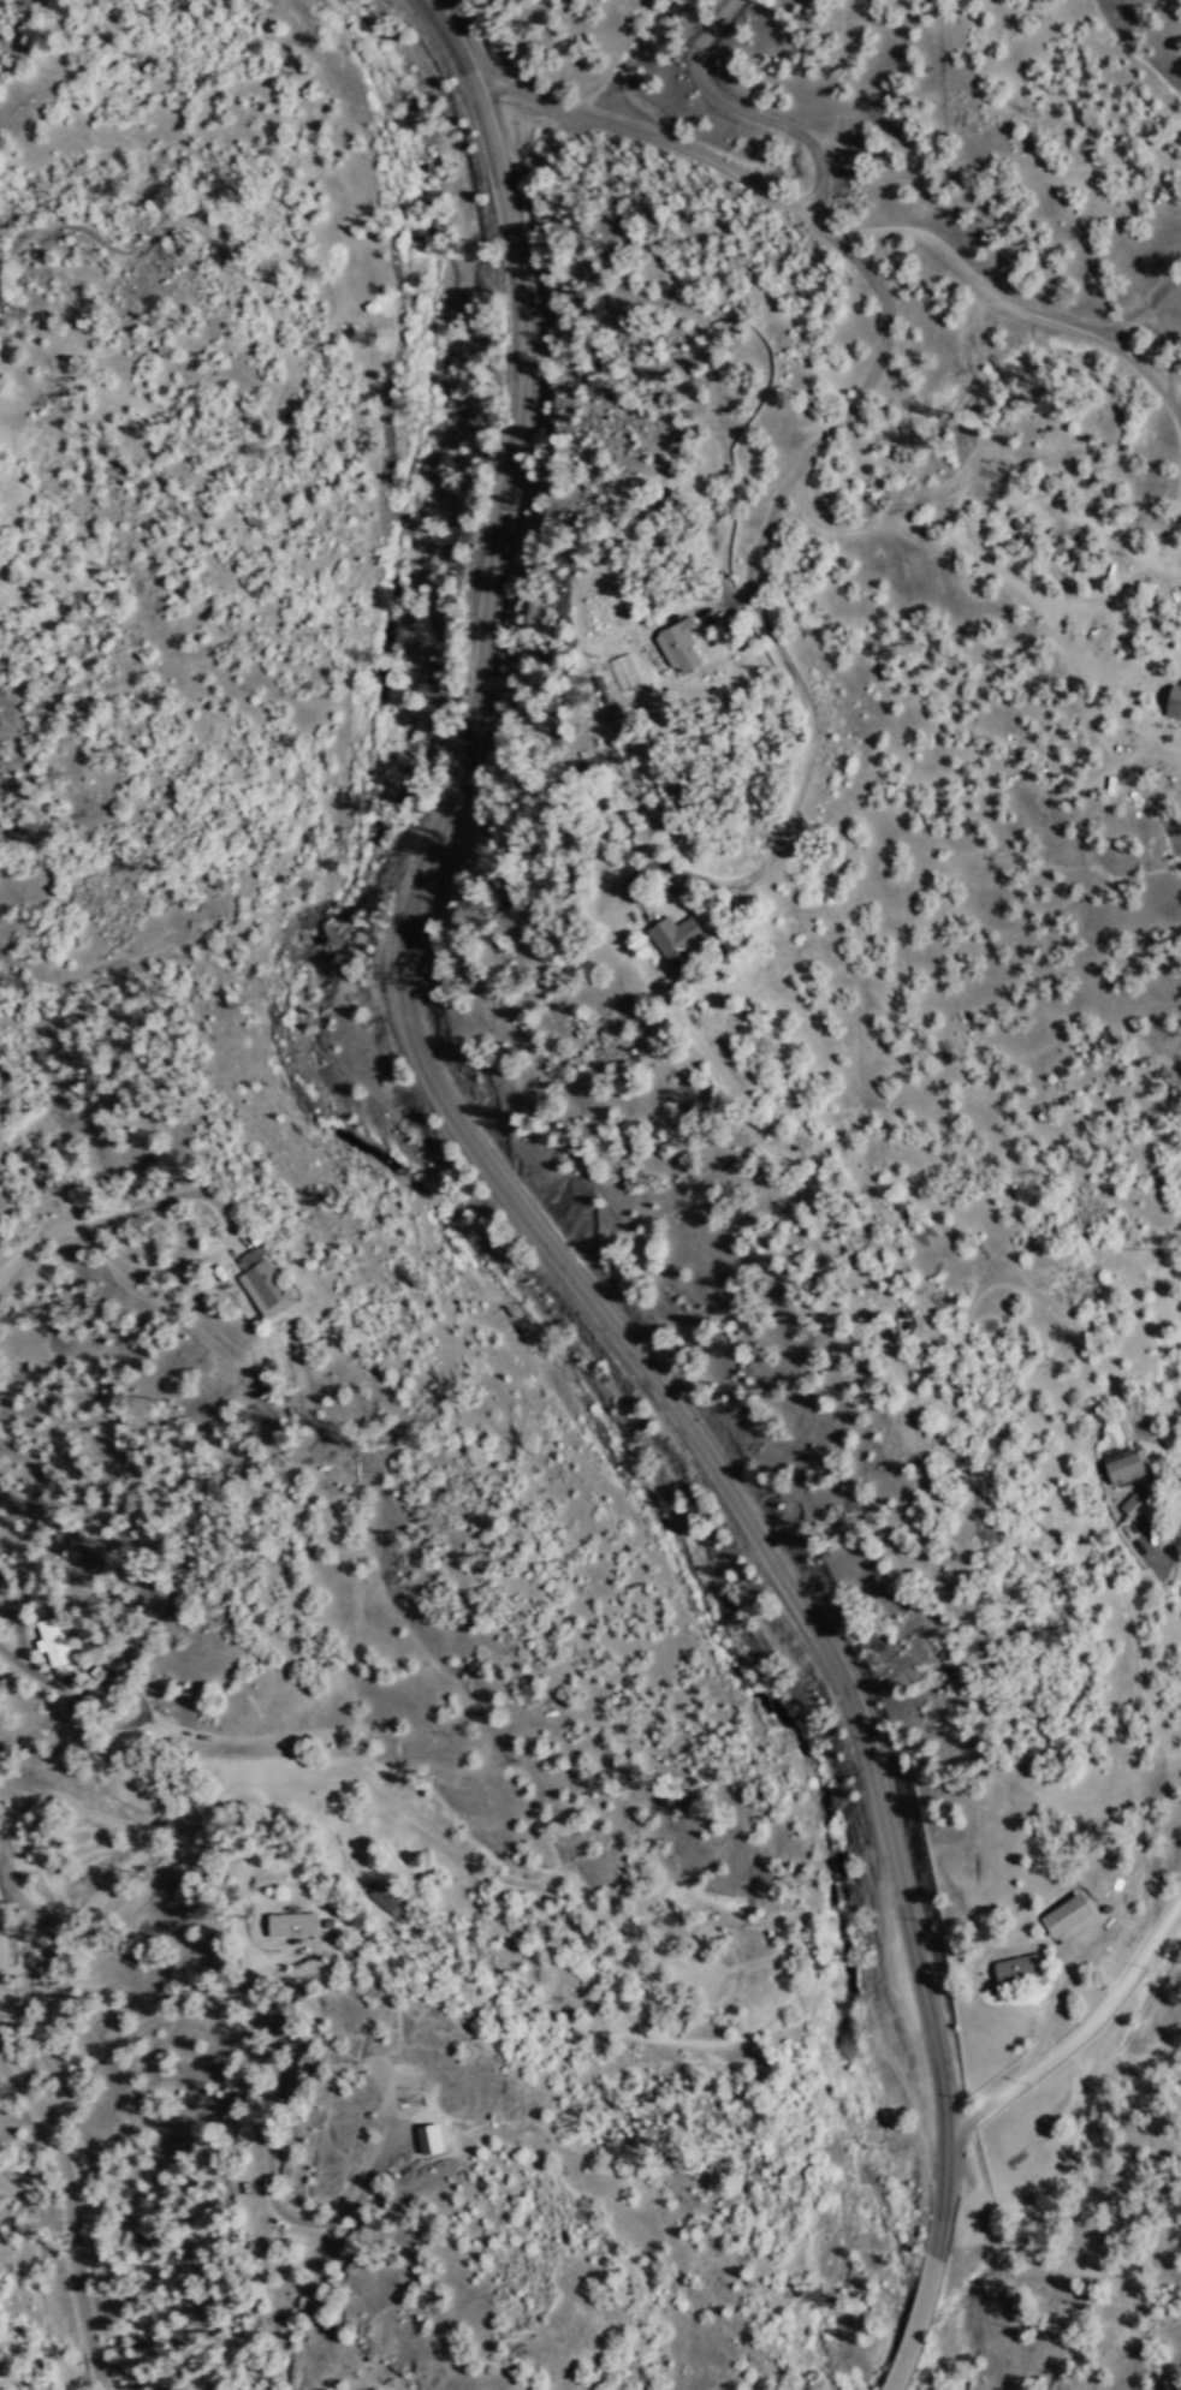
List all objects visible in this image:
road: (1096, 317)
building: (681, 643)
building: (1174, 701)
building: (682, 939)
road: (453, 1107)
river: (426, 1205)
building: (277, 1284)
building: (1127, 1464)
building: (1133, 1504)
road: (1165, 1558)
building: (53, 1641)
road: (133, 1826)
building: (384, 1893)
building: (1068, 1913)
building: (295, 1922)
road: (4, 1950)
building: (1021, 1966)
road: (1084, 2040)
road: (943, 2190)
road: (78, 2206)
road: (918, 2324)
river: (912, 2386)

